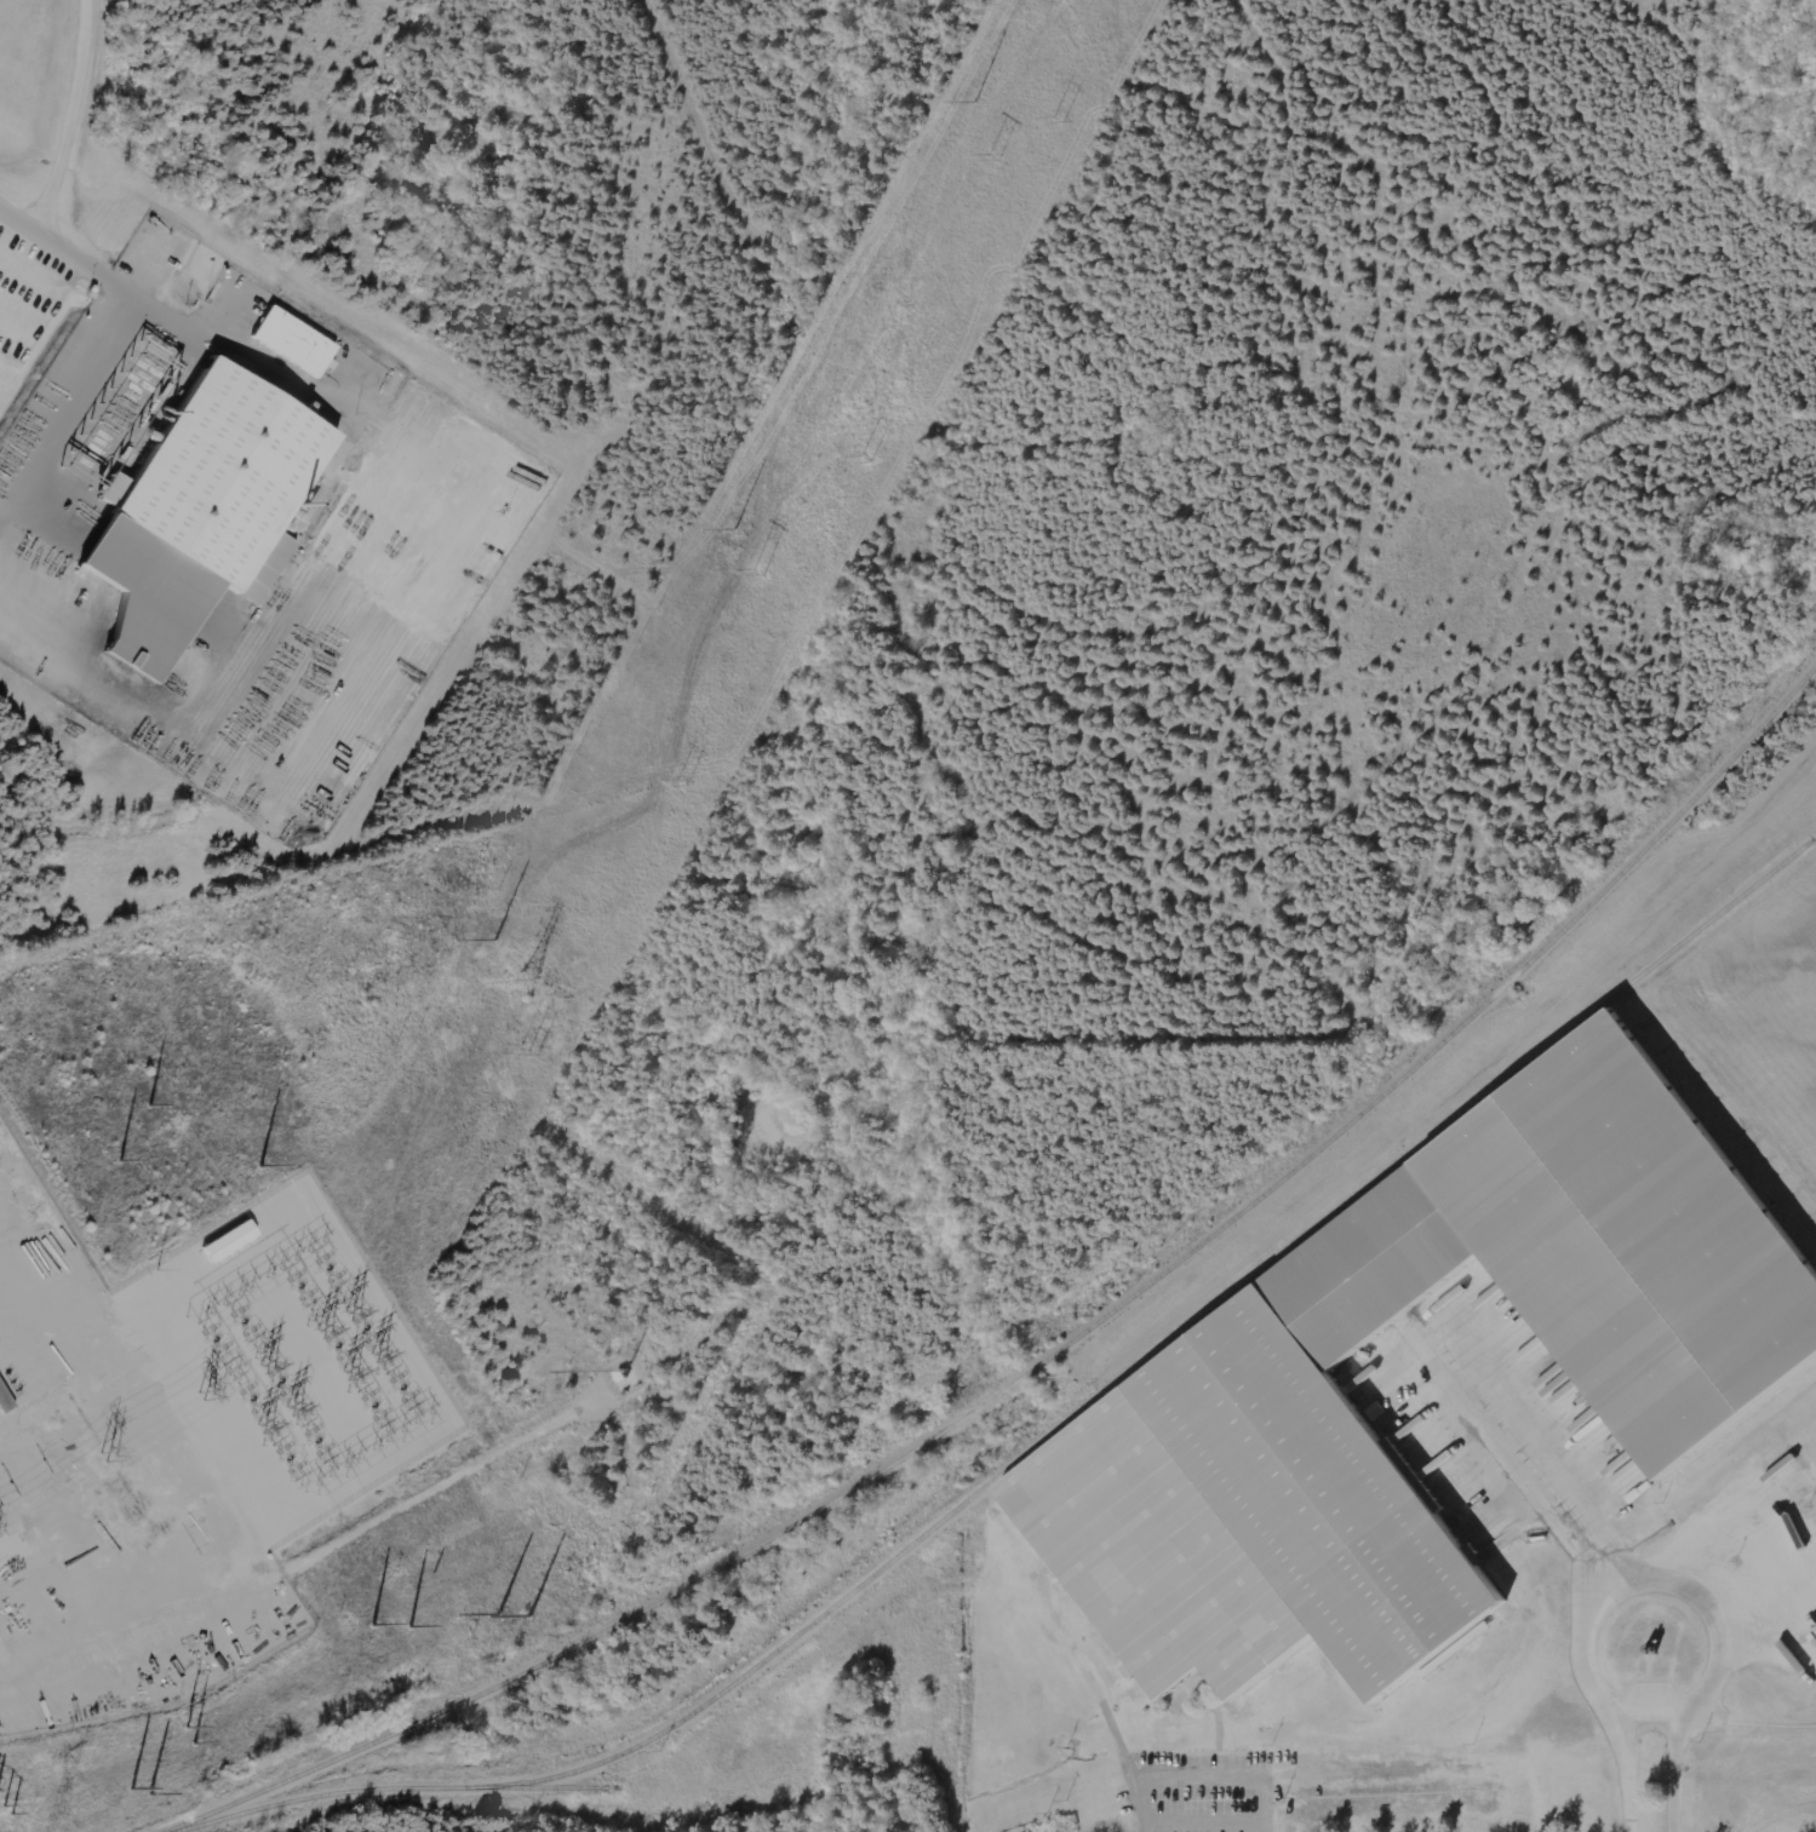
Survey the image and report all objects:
building: (298, 341)
building: (210, 511)
building: (234, 1241)
railway: (1059, 1344)
building: (1691, 1362)
building: (1376, 1411)
railway: (1043, 1440)
power substation: (183, 1445)
building: (1803, 1641)
road: (1726, 1656)
road: (1209, 1771)
road: (1683, 1771)
road: (1638, 1774)
power tower: (143, 1794)
road: (1213, 1816)
power tower: (59, 1824)

